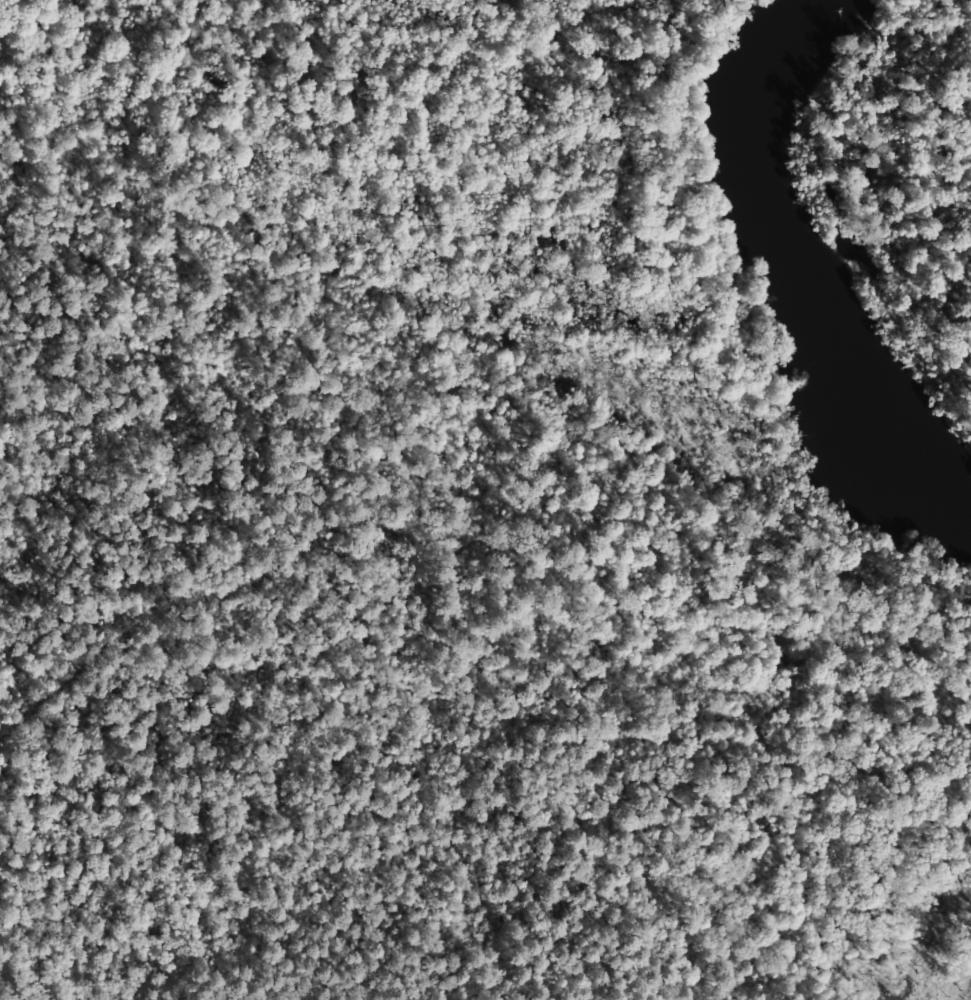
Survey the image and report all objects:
river: (810, 283)

